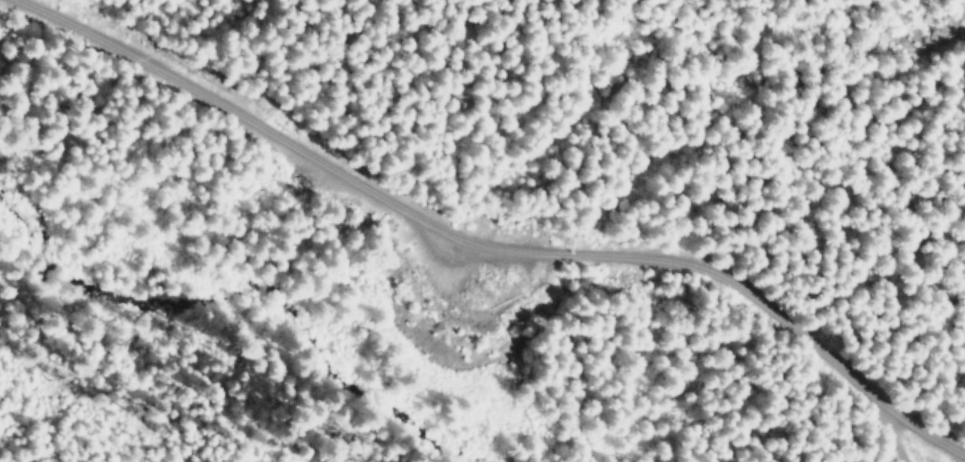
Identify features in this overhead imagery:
road: (498, 239)

